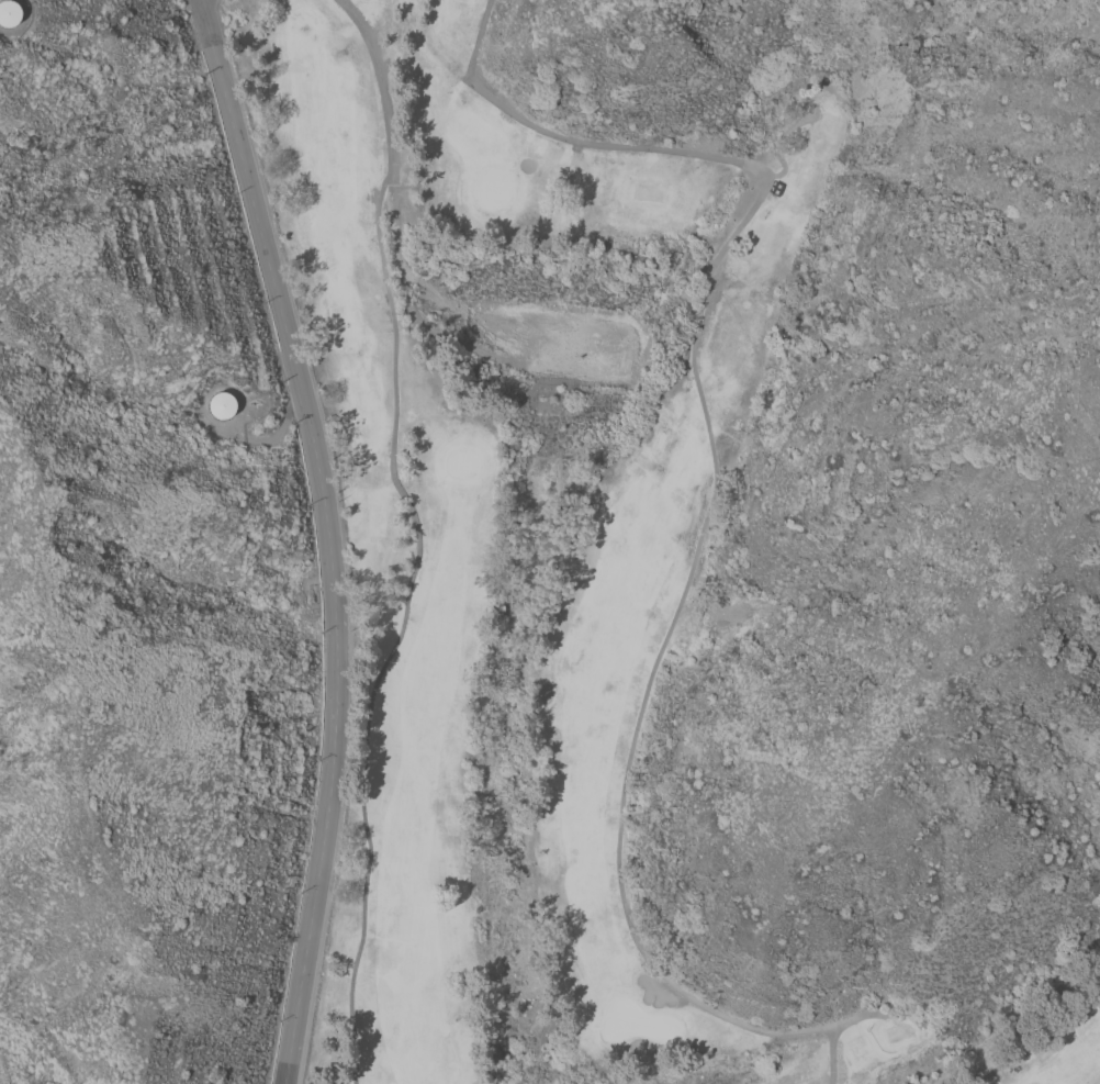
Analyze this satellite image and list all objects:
building: (9, 13)
storage tank: (9, 13)
road: (29, 33)
building: (222, 403)
storage tank: (222, 403)
road: (271, 440)
road: (712, 496)
road: (327, 536)
road: (417, 537)
park: (549, 557)
road: (1042, 1039)

